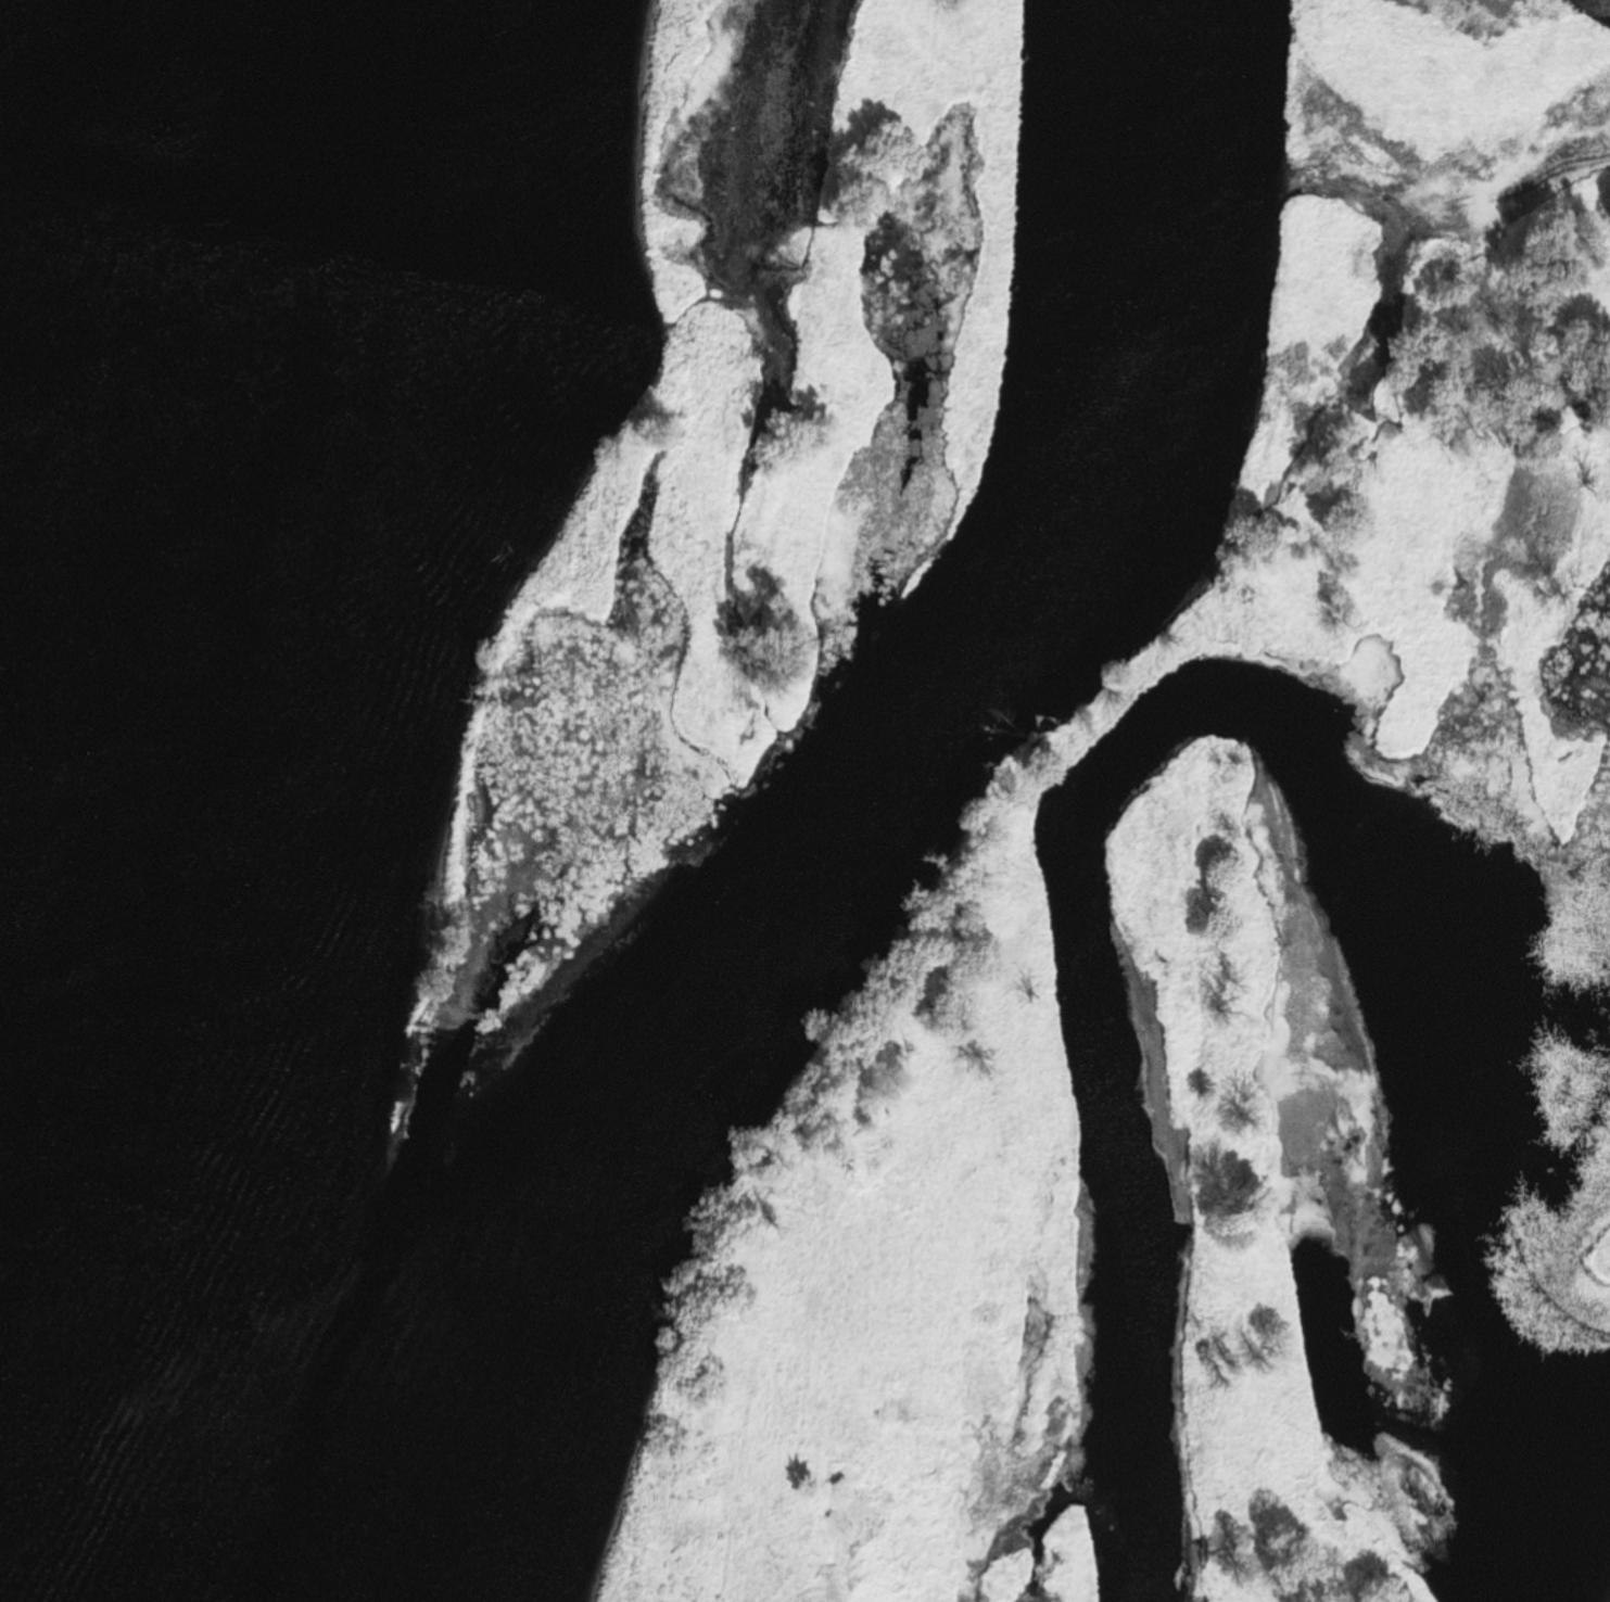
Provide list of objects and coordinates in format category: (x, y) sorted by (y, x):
river: (64, 265)

